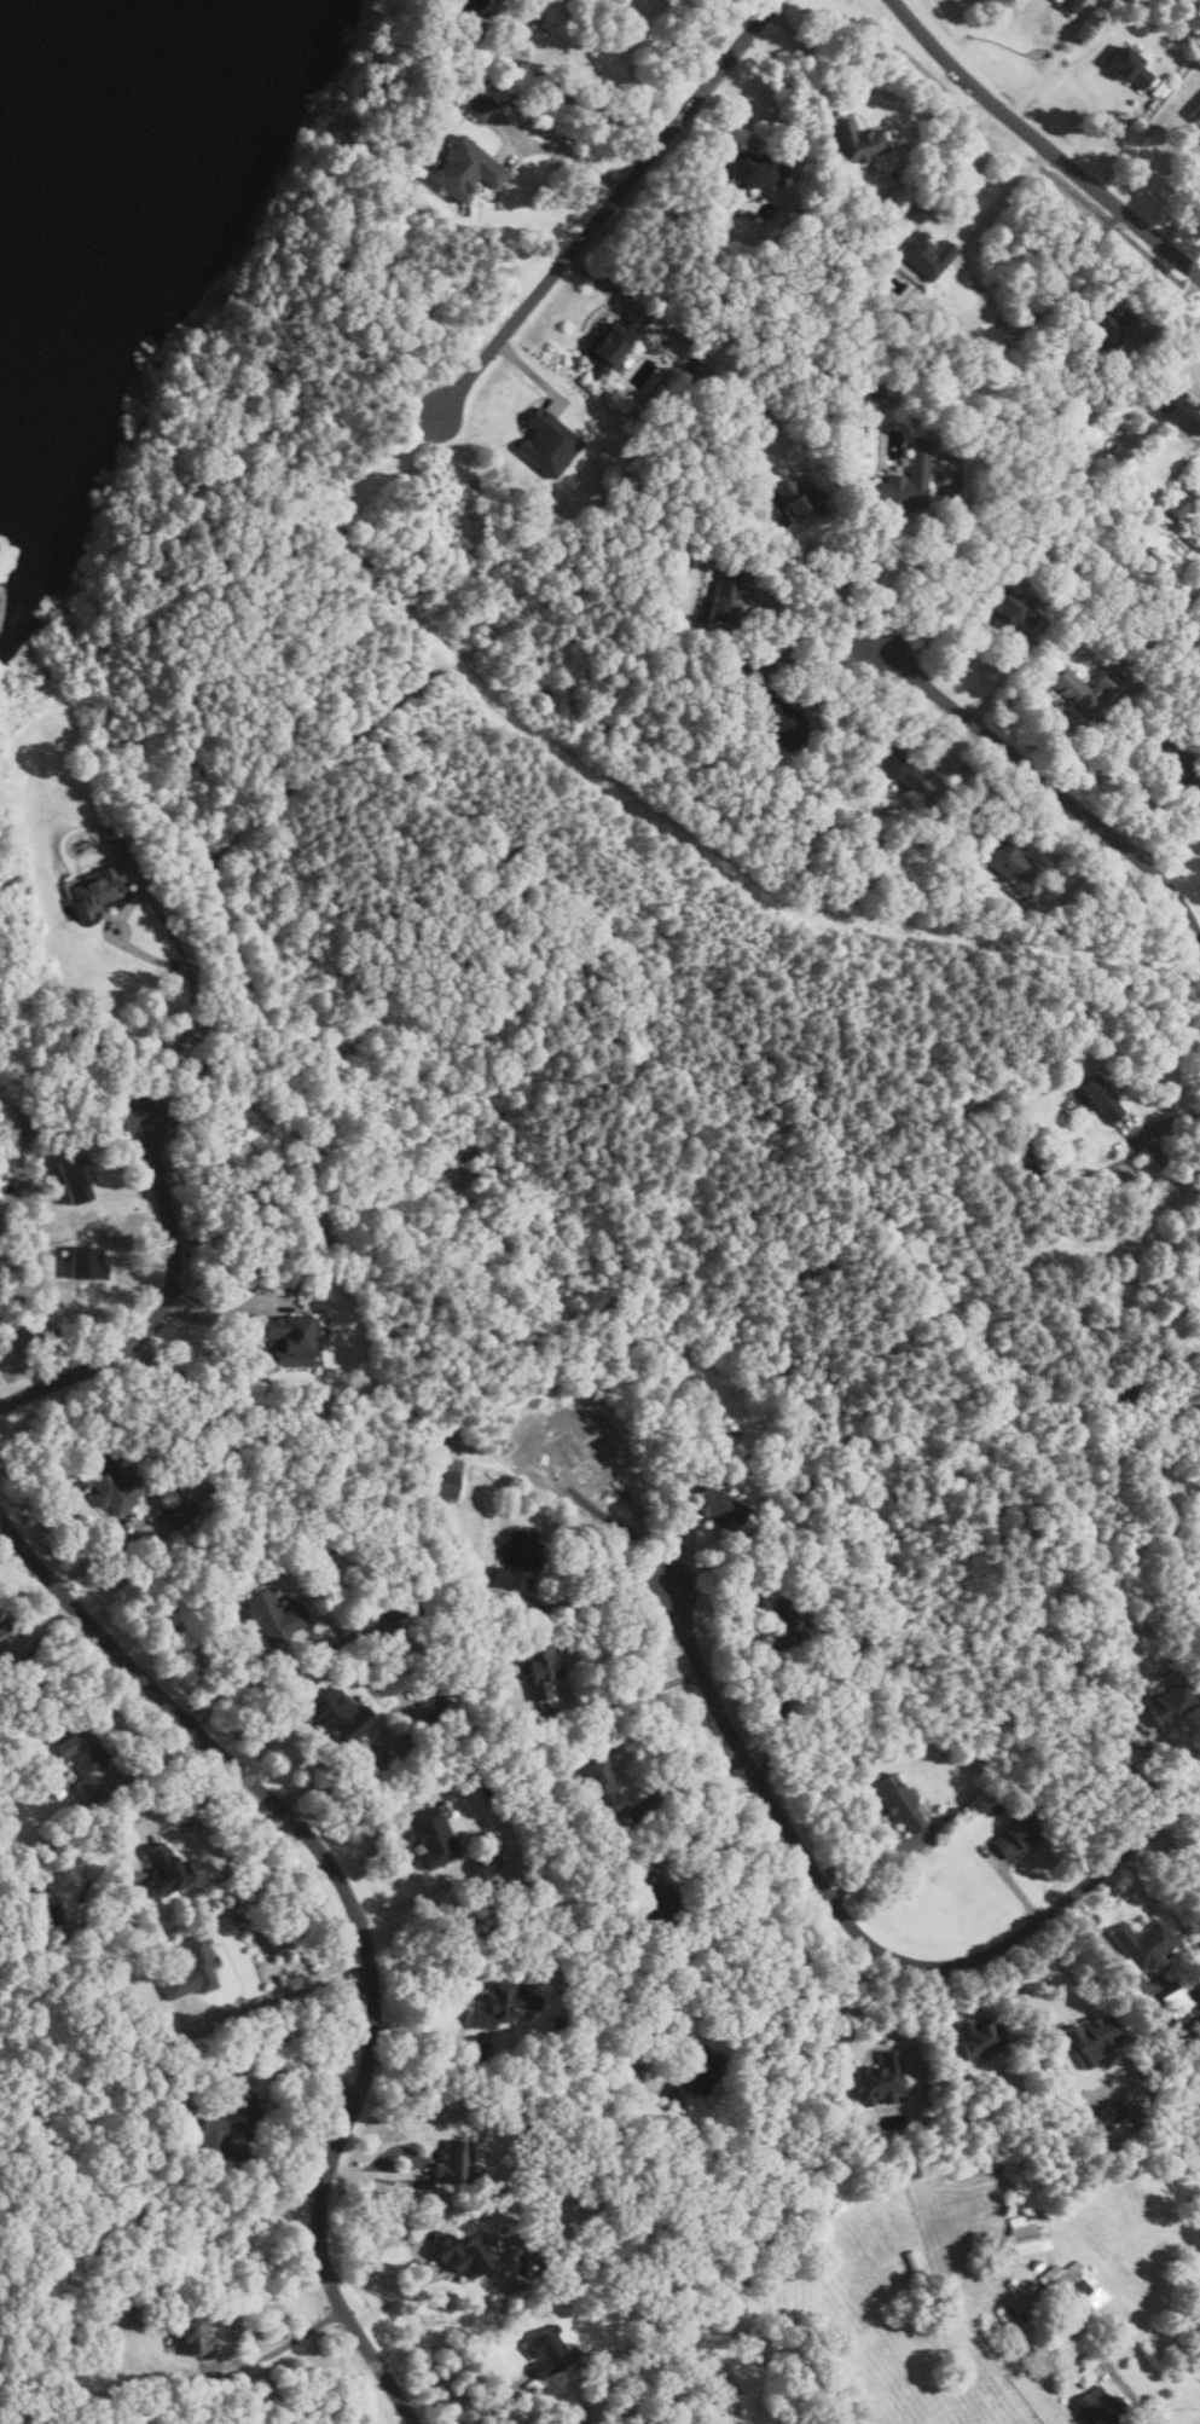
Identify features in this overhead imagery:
building: (475, 4)
building: (1069, 4)
road: (657, 42)
road: (812, 63)
building: (1129, 66)
road: (1050, 69)
road: (579, 103)
building: (476, 104)
building: (1196, 110)
road: (1117, 132)
building: (857, 141)
road: (1038, 144)
road: (698, 147)
road: (573, 160)
building: (466, 169)
building: (754, 172)
road: (998, 199)
road: (607, 207)
road: (1179, 218)
building: (926, 255)
road: (598, 284)
building: (903, 289)
road: (1170, 309)
building: (1108, 325)
building: (609, 345)
road: (534, 374)
building: (851, 380)
building: (799, 411)
building: (1176, 411)
building: (547, 444)
building: (904, 482)
building: (802, 499)
building: (1178, 504)
building: (682, 525)
road: (927, 566)
road: (821, 584)
building: (726, 594)
building: (1007, 608)
road: (825, 615)
road: (818, 658)
road: (1007, 676)
building: (708, 685)
building: (1084, 690)
building: (778, 718)
road: (1094, 745)
building: (1164, 751)
building: (893, 764)
road: (964, 769)
road: (1048, 783)
road: (1170, 814)
building: (110, 832)
road: (1179, 852)
building: (1010, 866)
road: (1082, 875)
building: (95, 891)
road: (184, 959)
building: (1101, 1099)
road: (1166, 1121)
building: (1022, 1149)
building: (74, 1176)
road: (127, 1186)
building: (87, 1262)
building: (1198, 1262)
road: (143, 1278)
building: (324, 1278)
road: (161, 1306)
road: (227, 1311)
building: (291, 1340)
building: (1123, 1396)
building: (442, 1482)
building: (110, 1485)
building: (720, 1509)
building: (178, 1512)
road: (683, 1546)
road: (97, 1558)
building: (516, 1561)
road: (596, 1599)
building: (273, 1615)
building: (782, 1622)
building: (4, 1625)
building: (354, 1625)
road: (35, 1627)
building: (540, 1670)
road: (135, 1671)
road: (253, 1680)
road: (627, 1695)
building: (1170, 1702)
building: (341, 1713)
road: (773, 1722)
road: (1171, 1740)
building: (83, 1758)
road: (162, 1763)
road: (334, 1775)
road: (688, 1778)
building: (603, 1787)
road: (1199, 1789)
building: (488, 1790)
building: (899, 1800)
road: (211, 1805)
building: (993, 1809)
road: (701, 1812)
building: (434, 1838)
building: (1015, 1838)
building: (22, 1858)
road: (879, 1858)
building: (164, 1869)
road: (1010, 1881)
building: (40, 1891)
building: (661, 1898)
road: (406, 1899)
building: (585, 1905)
road: (862, 1930)
road: (1092, 1932)
building: (1146, 1944)
road: (706, 1967)
building: (192, 1968)
road: (291, 1992)
road: (1025, 1997)
road: (944, 2003)
building: (495, 2004)
building: (1181, 2004)
building: (124, 2008)
road: (883, 2014)
building: (558, 2024)
building: (980, 2036)
road: (429, 2037)
building: (1090, 2040)
building: (692, 2076)
building: (880, 2081)
building: (1117, 2113)
road: (346, 2119)
building: (228, 2123)
building: (456, 2162)
road: (372, 2174)
road: (273, 2176)
building: (1028, 2234)
building: (471, 2257)
building: (1037, 2263)
building: (1073, 2286)
building: (1014, 2287)
road: (399, 2292)
building: (197, 2335)
road: (280, 2349)
building: (547, 2350)
building: (1084, 2378)
building: (719, 2388)
road: (1131, 2395)
road: (495, 2402)
building: (1097, 2407)

